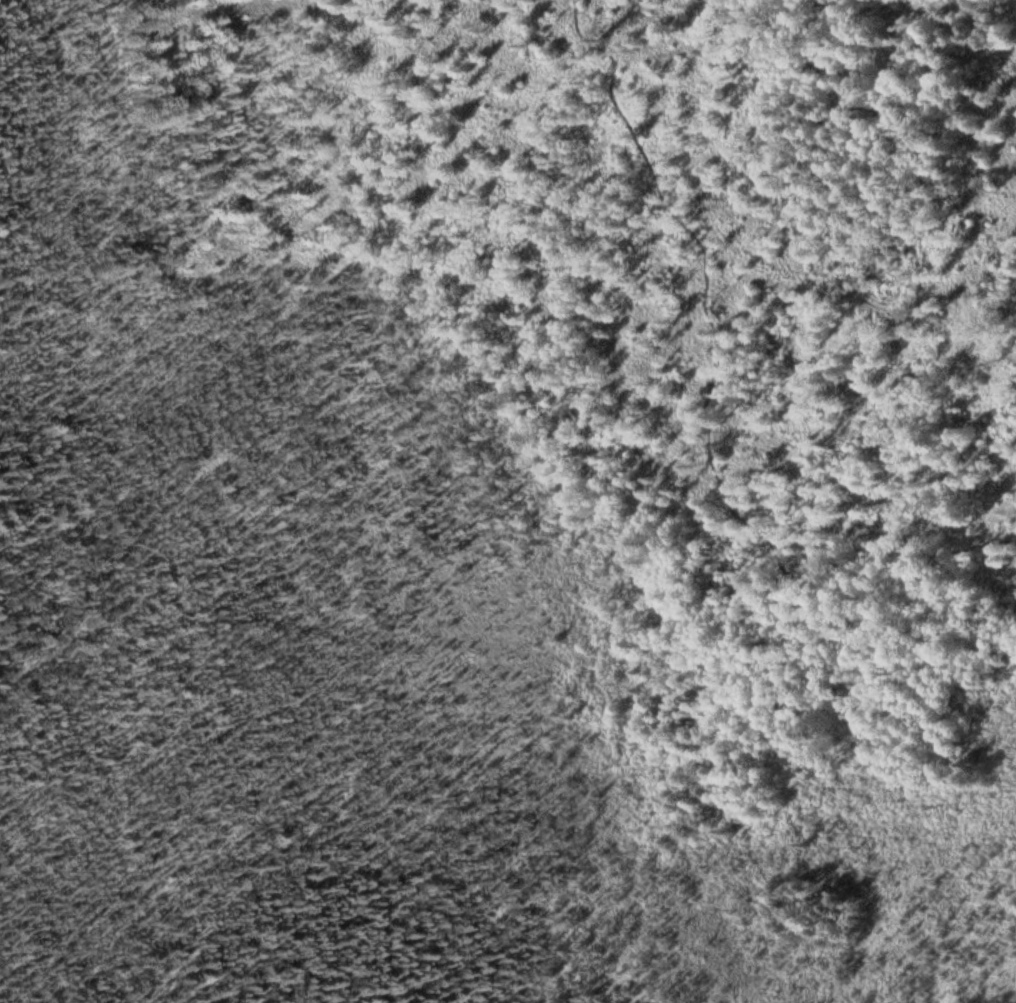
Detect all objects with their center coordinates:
road: (707, 395)

